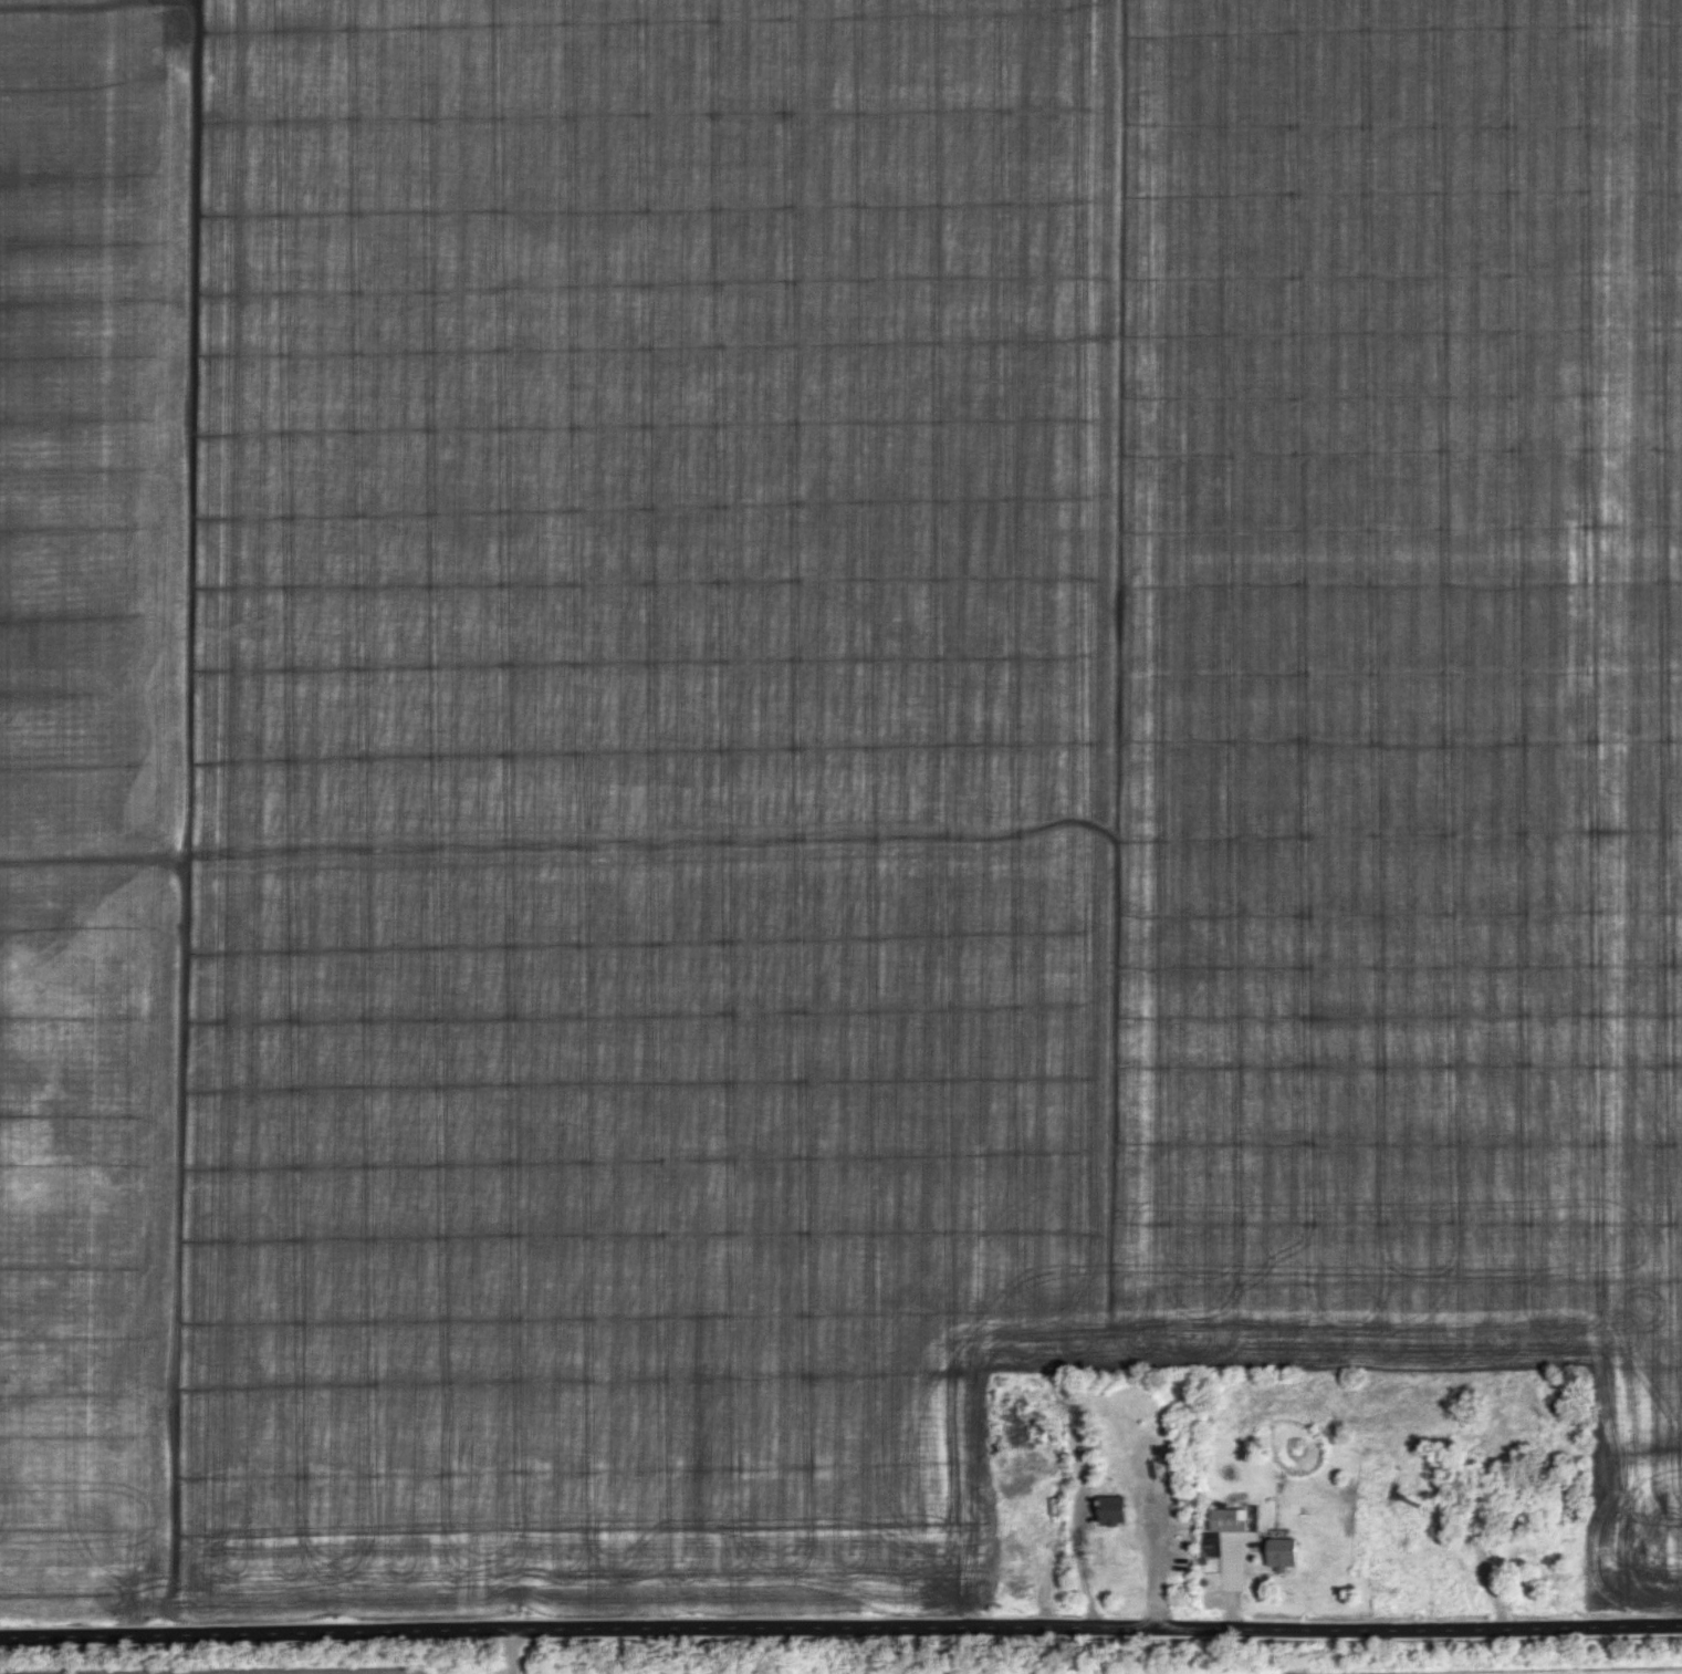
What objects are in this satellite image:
building: (1111, 1508)
building: (1227, 1518)
road: (1475, 1525)
road: (1155, 1552)
building: (1281, 1552)
road: (1084, 1571)
road: (840, 1626)
road: (514, 1650)

